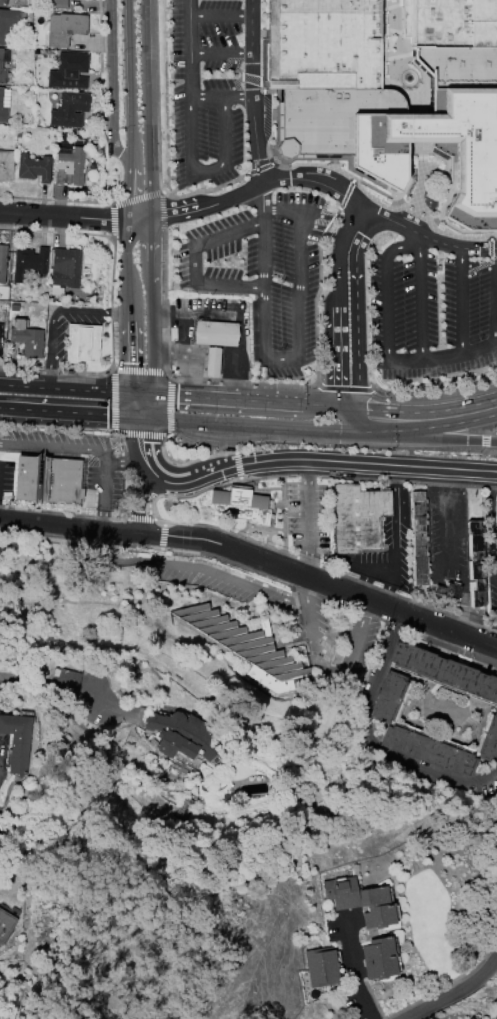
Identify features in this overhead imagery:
building: (3, 2)
building: (56, 4)
road: (393, 6)
road: (220, 13)
building: (9, 21)
building: (64, 28)
road: (393, 31)
road: (399, 32)
road: (255, 34)
road: (261, 34)
road: (269, 34)
road: (269, 41)
road: (270, 42)
road: (189, 47)
road: (220, 51)
road: (395, 55)
road: (264, 56)
road: (234, 63)
building: (0, 65)
road: (382, 65)
road: (400, 66)
road: (416, 67)
building: (69, 71)
building: (325, 71)
road: (251, 78)
road: (262, 79)
road: (111, 82)
road: (129, 84)
road: (263, 84)
road: (275, 84)
road: (234, 86)
parking lot: (205, 89)
road: (252, 91)
road: (422, 94)
road: (220, 96)
building: (3, 103)
road: (101, 103)
road: (261, 107)
road: (277, 107)
building: (445, 107)
building: (69, 109)
road: (146, 109)
road: (279, 122)
road: (421, 129)
road: (158, 142)
road: (422, 149)
road: (277, 152)
road: (452, 152)
road: (268, 157)
road: (314, 157)
road: (437, 157)
road: (284, 158)
road: (333, 159)
road: (284, 160)
road: (312, 164)
road: (427, 164)
building: (6, 165)
road: (282, 166)
road: (333, 166)
building: (69, 167)
building: (32, 168)
road: (206, 168)
road: (259, 169)
road: (409, 171)
road: (442, 172)
road: (313, 179)
road: (373, 181)
road: (419, 186)
road: (372, 187)
road: (125, 193)
road: (450, 194)
road: (261, 195)
road: (345, 195)
road: (137, 198)
road: (398, 198)
road: (53, 200)
road: (447, 201)
road: (100, 202)
road: (206, 204)
road: (381, 204)
road: (399, 206)
road: (162, 210)
road: (61, 216)
road: (136, 219)
road: (113, 220)
road: (56, 232)
road: (452, 235)
road: (425, 238)
road: (493, 239)
road: (341, 244)
road: (420, 244)
road: (490, 248)
road: (493, 259)
road: (192, 260)
building: (2, 262)
building: (29, 262)
road: (150, 265)
road: (125, 267)
road: (477, 267)
building: (65, 268)
parking lot: (263, 272)
road: (386, 286)
road: (316, 293)
road: (495, 296)
road: (461, 300)
road: (163, 301)
road: (111, 303)
parking lot: (430, 303)
road: (420, 305)
road: (54, 312)
road: (197, 313)
road: (356, 313)
building: (215, 333)
gas station: (215, 333)
building: (0, 334)
building: (26, 338)
building: (82, 344)
road: (153, 352)
road: (129, 353)
road: (297, 353)
road: (339, 354)
road: (459, 354)
road: (168, 357)
road: (239, 357)
road: (188, 360)
road: (404, 360)
building: (212, 362)
road: (139, 370)
road: (57, 372)
road: (190, 378)
road: (239, 383)
road: (66, 388)
road: (344, 389)
road: (435, 391)
traffic signals: (133, 393)
road: (142, 393)
traffic signals: (152, 394)
road: (194, 397)
road: (114, 400)
road: (295, 403)
road: (137, 405)
road: (147, 405)
road: (169, 406)
road: (71, 412)
traffic signals: (142, 417)
traffic signals: (350, 418)
road: (358, 418)
road: (432, 418)
road: (249, 425)
road: (57, 426)
road: (491, 429)
road: (141, 432)
road: (430, 437)
road: (251, 438)
road: (143, 439)
road: (194, 440)
road: (484, 440)
road: (56, 446)
road: (352, 446)
road: (221, 447)
road: (127, 461)
road: (180, 461)
road: (323, 461)
road: (150, 469)
building: (47, 480)
road: (105, 494)
road: (141, 502)
road: (149, 504)
building: (239, 504)
road: (163, 512)
building: (495, 512)
building: (357, 517)
road: (111, 519)
road: (307, 519)
road: (447, 520)
road: (68, 524)
building: (419, 538)
building: (495, 544)
road: (396, 547)
road: (174, 550)
building: (474, 564)
road: (199, 568)
road: (319, 584)
road: (361, 584)
road: (389, 590)
building: (448, 591)
building: (246, 648)
road: (322, 666)
building: (444, 672)
building: (68, 678)
road: (48, 682)
building: (179, 735)
building: (16, 741)
building: (489, 741)
road: (376, 742)
building: (428, 751)
building: (361, 901)
building: (5, 925)
building: (378, 958)
building: (321, 967)
road: (358, 973)
road: (457, 993)
building: (469, 1018)

